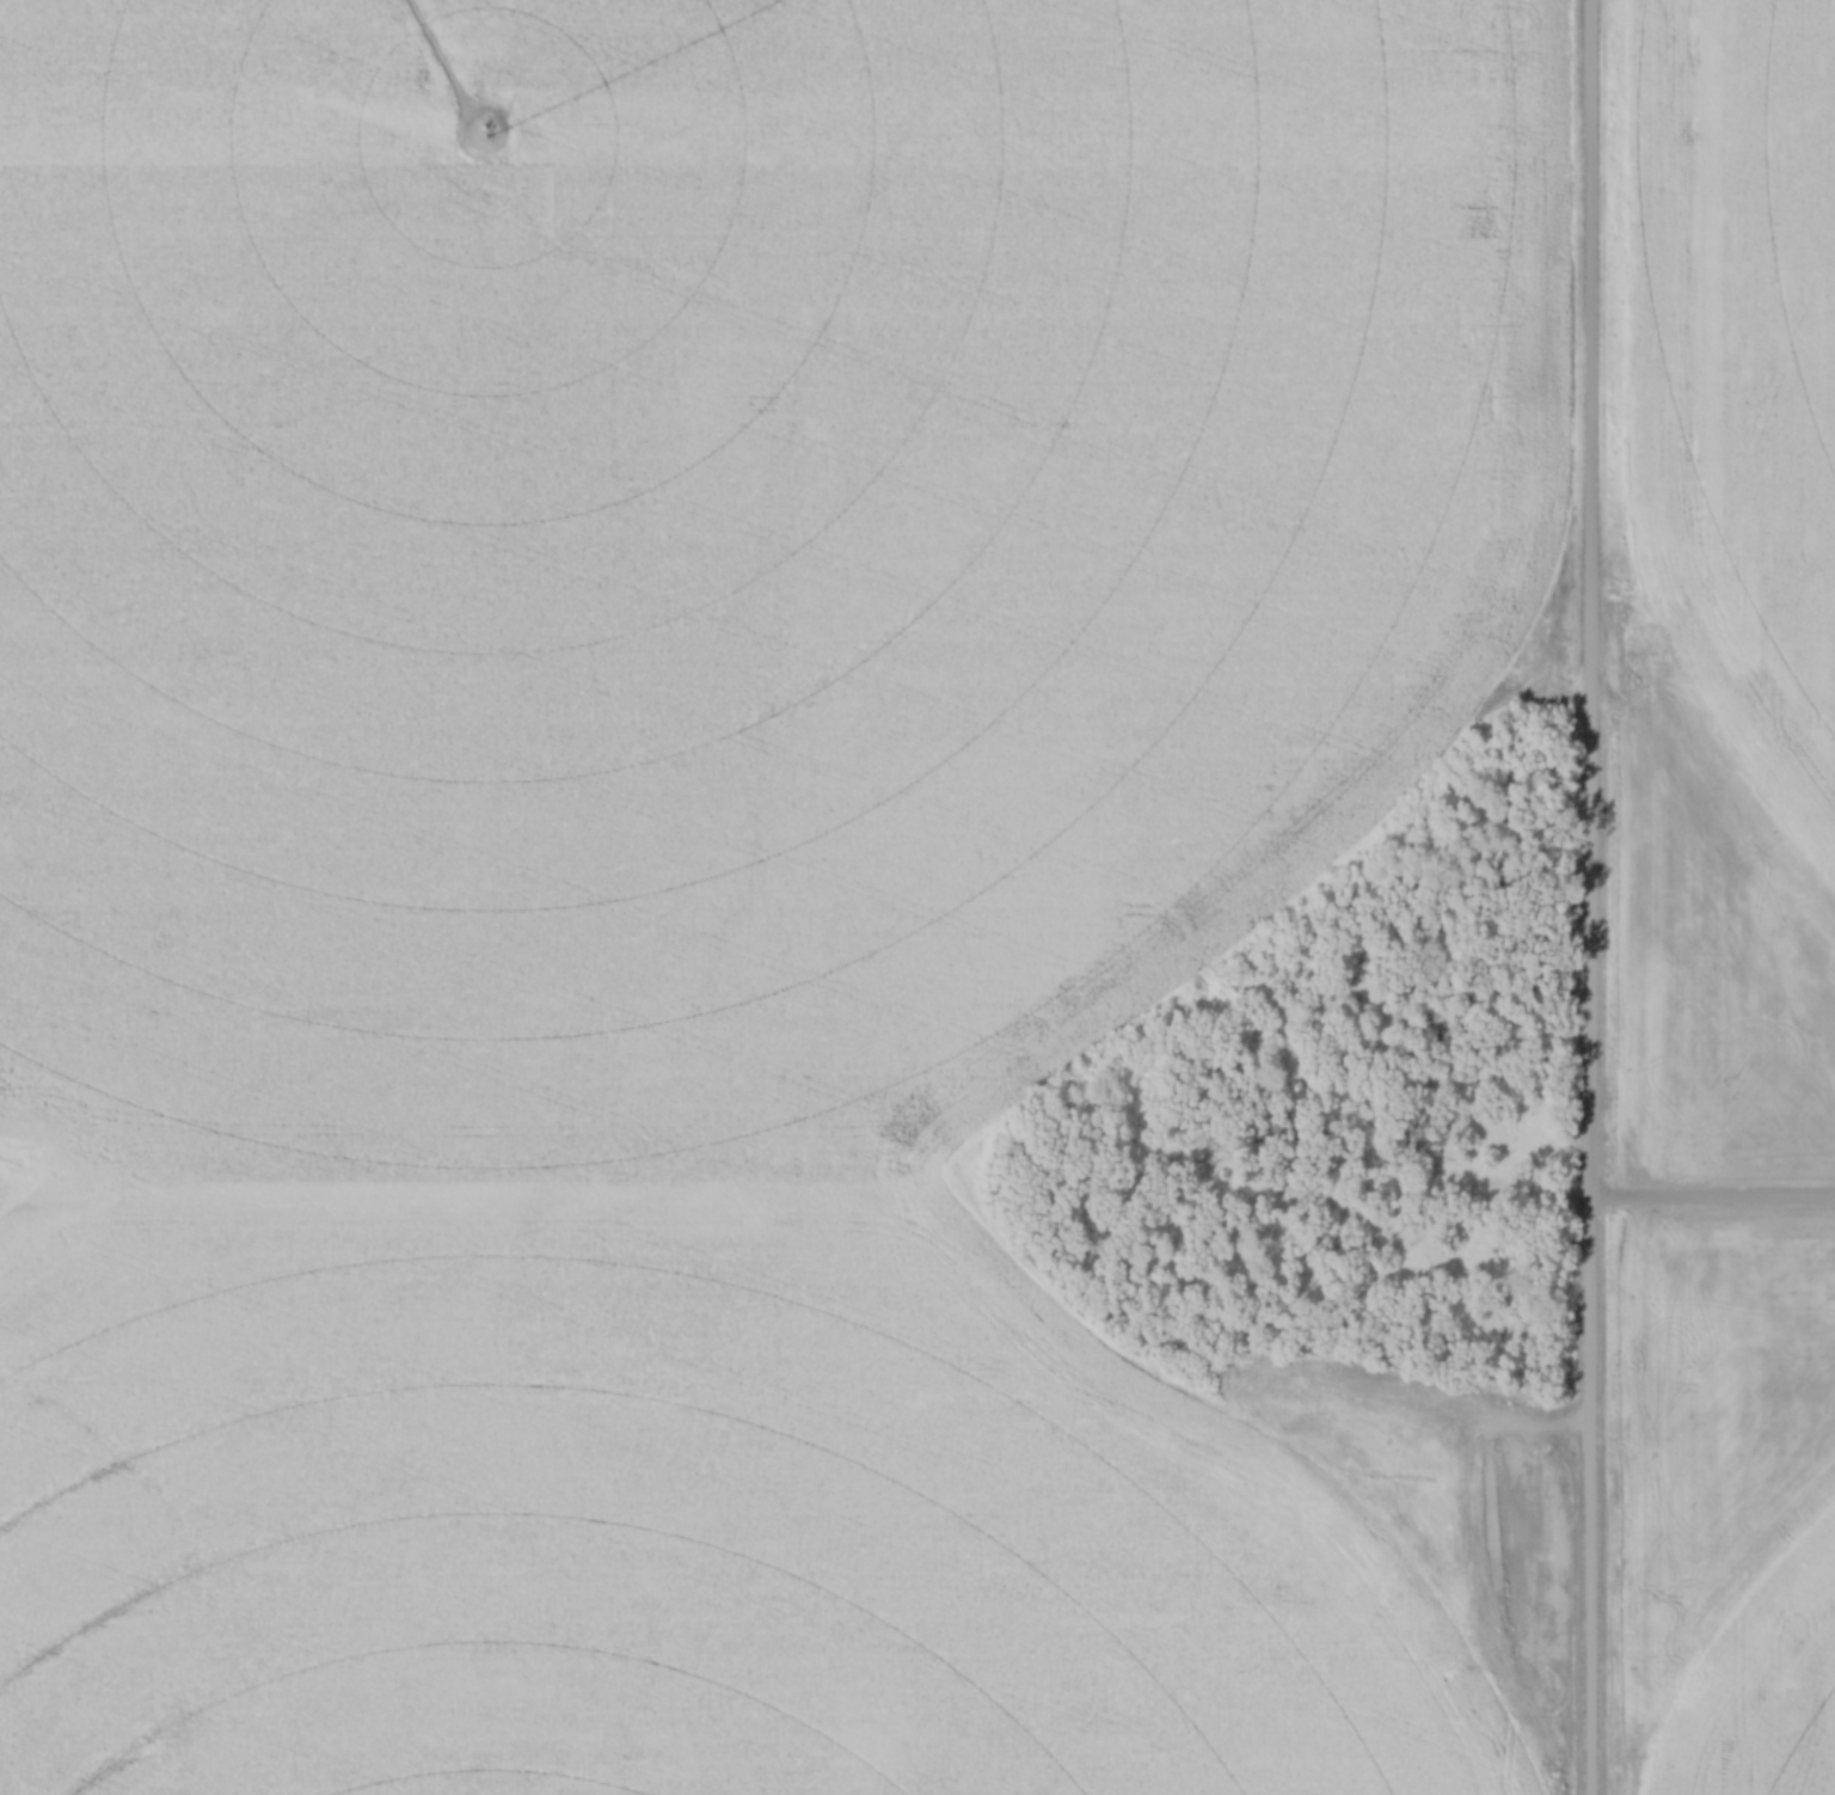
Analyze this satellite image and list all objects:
road: (1594, 896)
building: (1424, 1137)
road: (1444, 1183)

